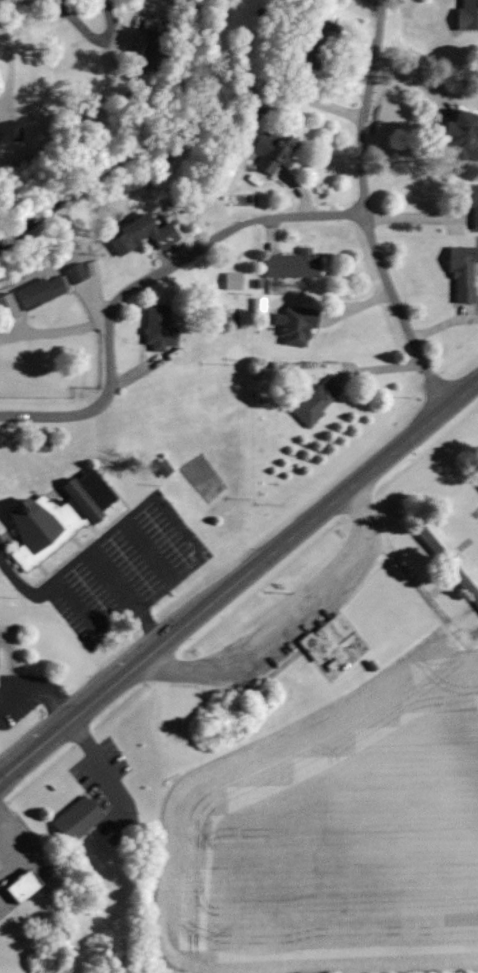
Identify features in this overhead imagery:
building: (469, 15)
road: (94, 35)
building: (323, 44)
building: (158, 49)
building: (11, 131)
building: (463, 135)
building: (275, 150)
road: (300, 188)
building: (470, 198)
road: (362, 211)
road: (413, 216)
building: (146, 234)
building: (295, 264)
building: (81, 272)
building: (465, 274)
road: (140, 282)
building: (44, 290)
building: (161, 326)
road: (439, 326)
building: (300, 327)
building: (319, 401)
building: (476, 474)
building: (60, 516)
building: (450, 555)
road: (239, 580)
road: (286, 620)
building: (330, 643)
building: (79, 819)
building: (26, 886)

